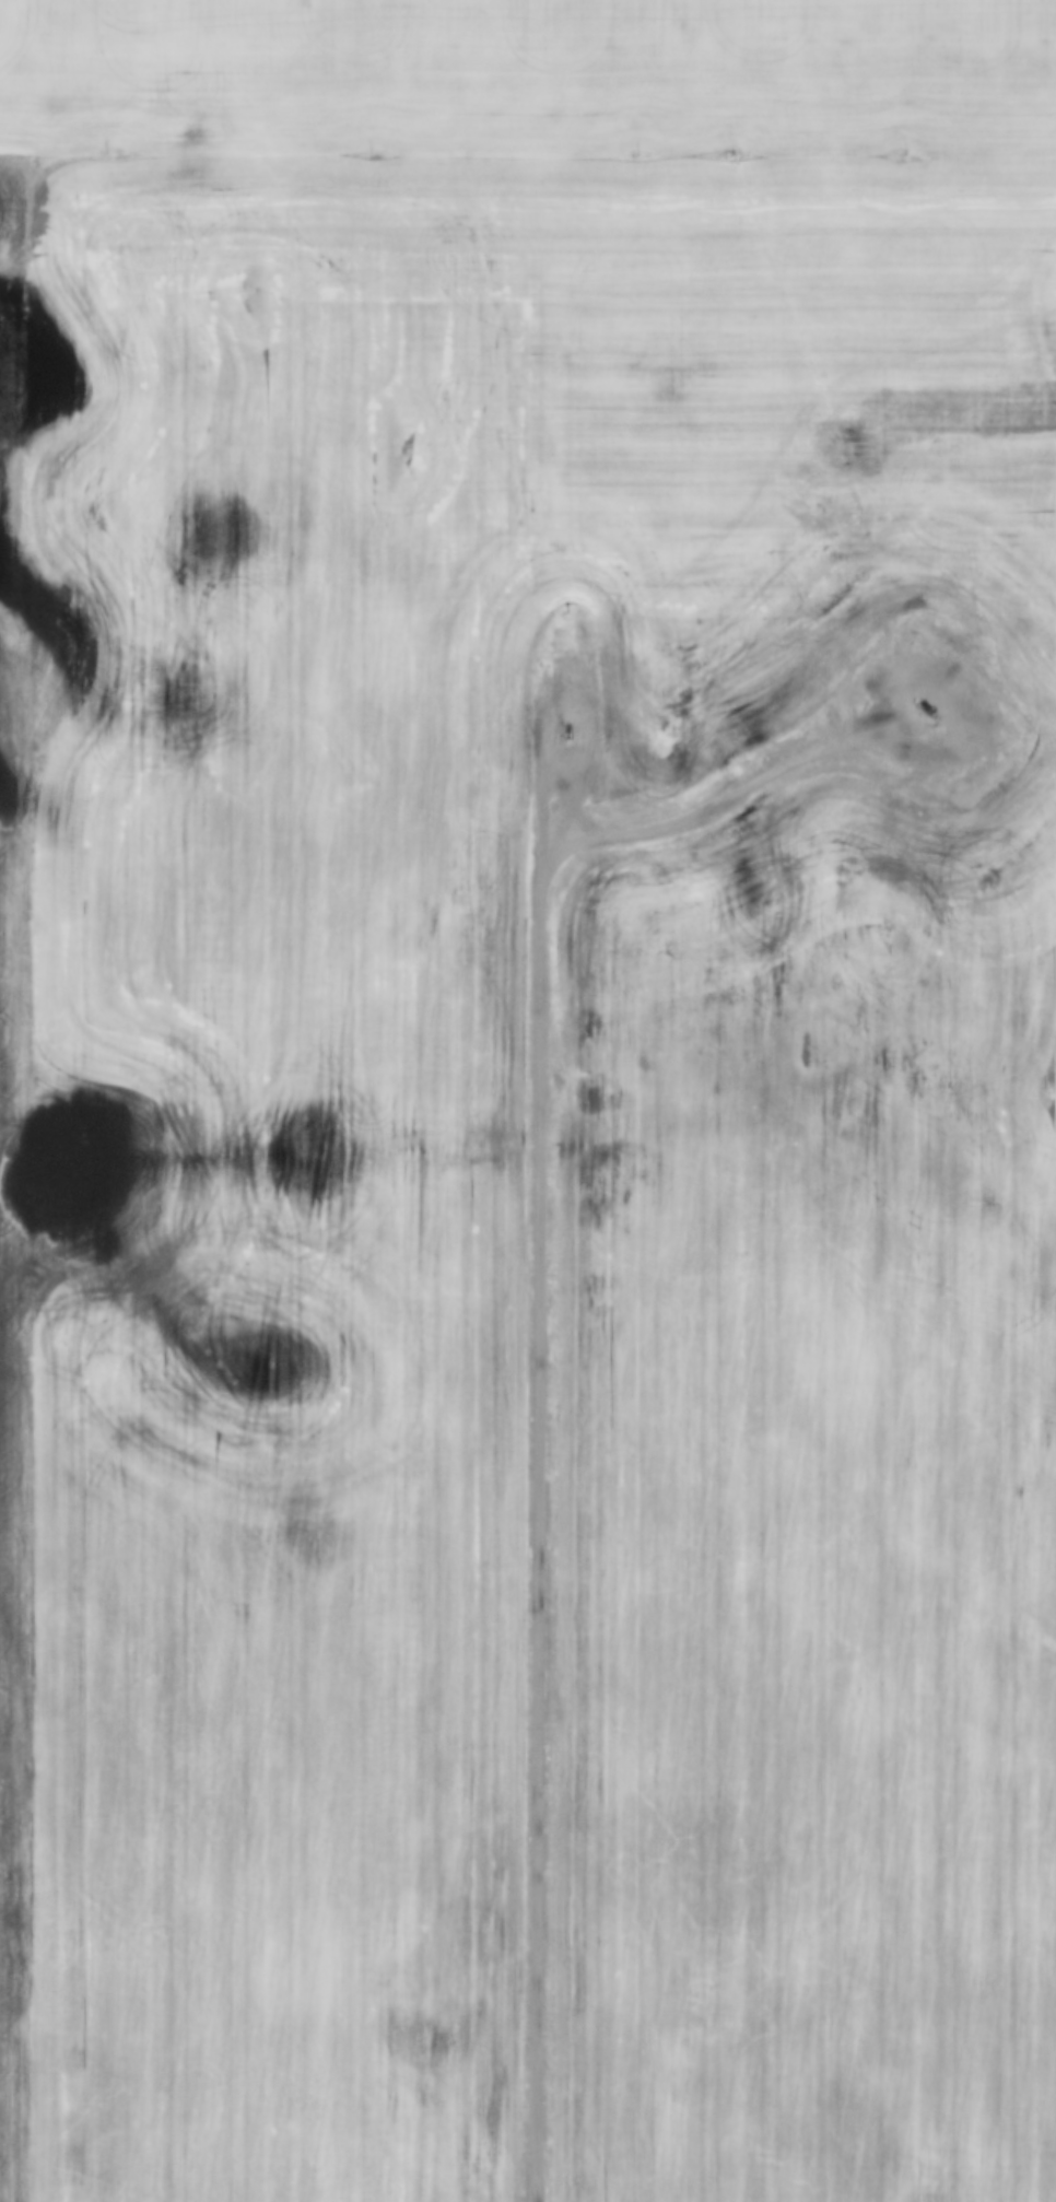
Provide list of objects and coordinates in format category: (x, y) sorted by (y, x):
road: (737, 786)
road: (540, 1465)

